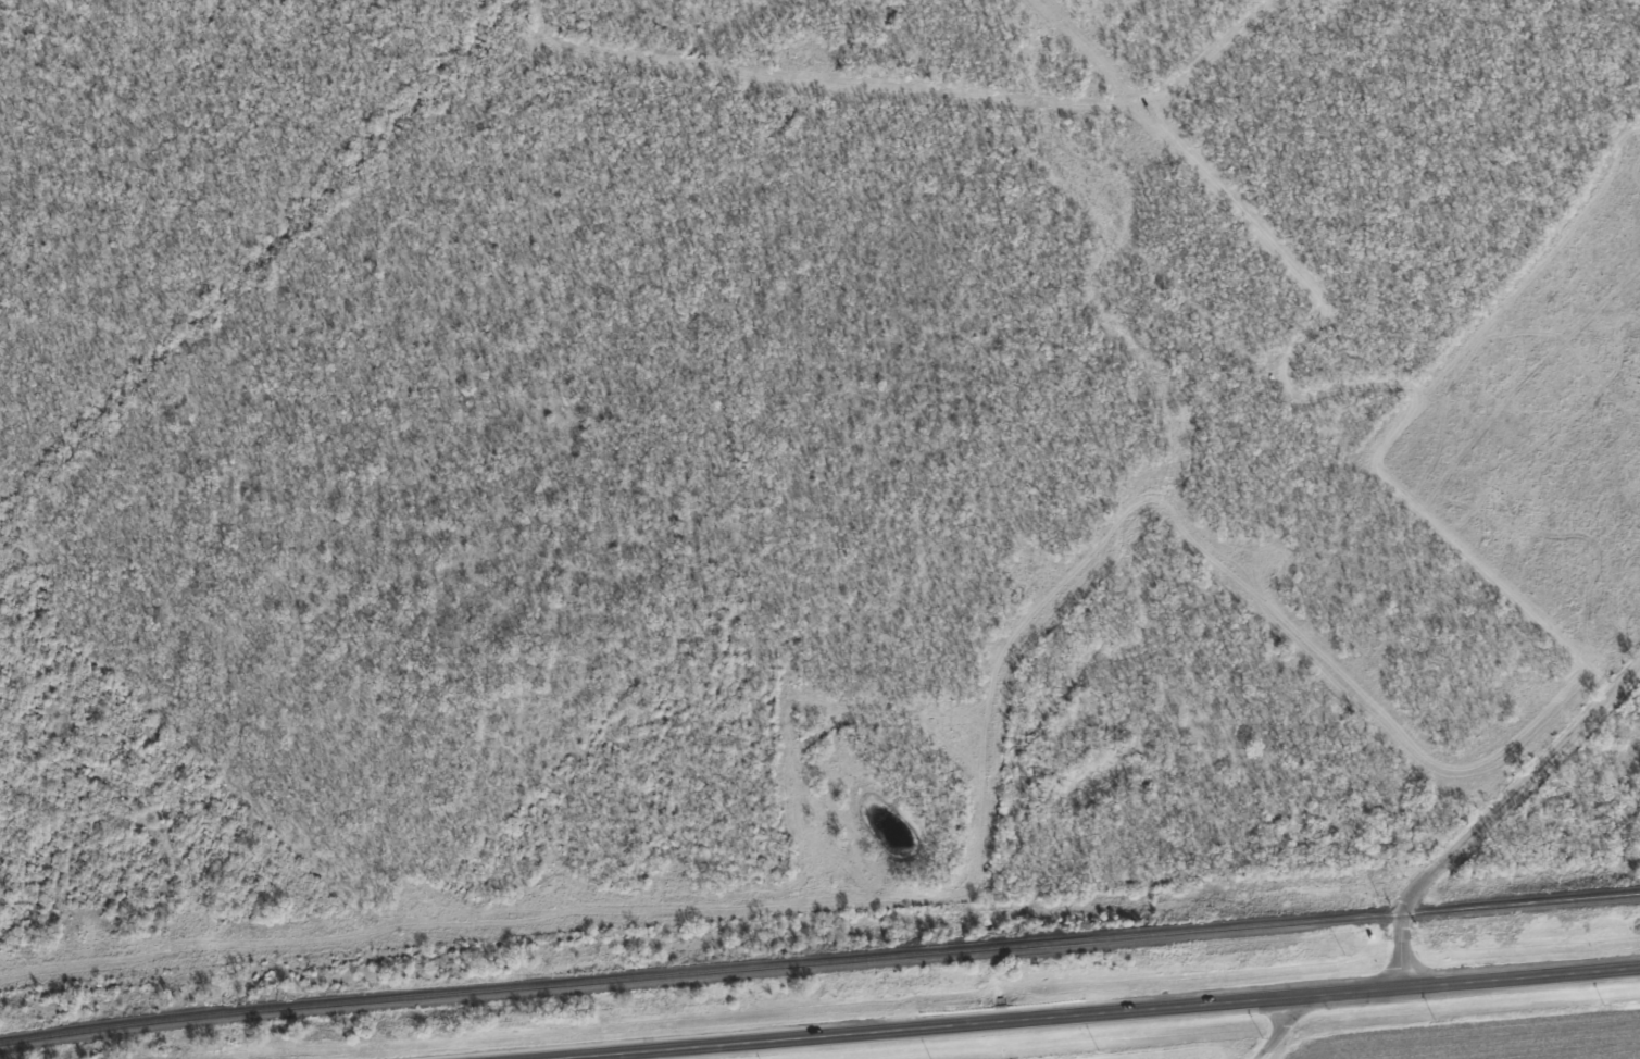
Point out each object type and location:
road: (1491, 815)
railway: (818, 963)
road: (1099, 1013)
road: (1281, 1031)

